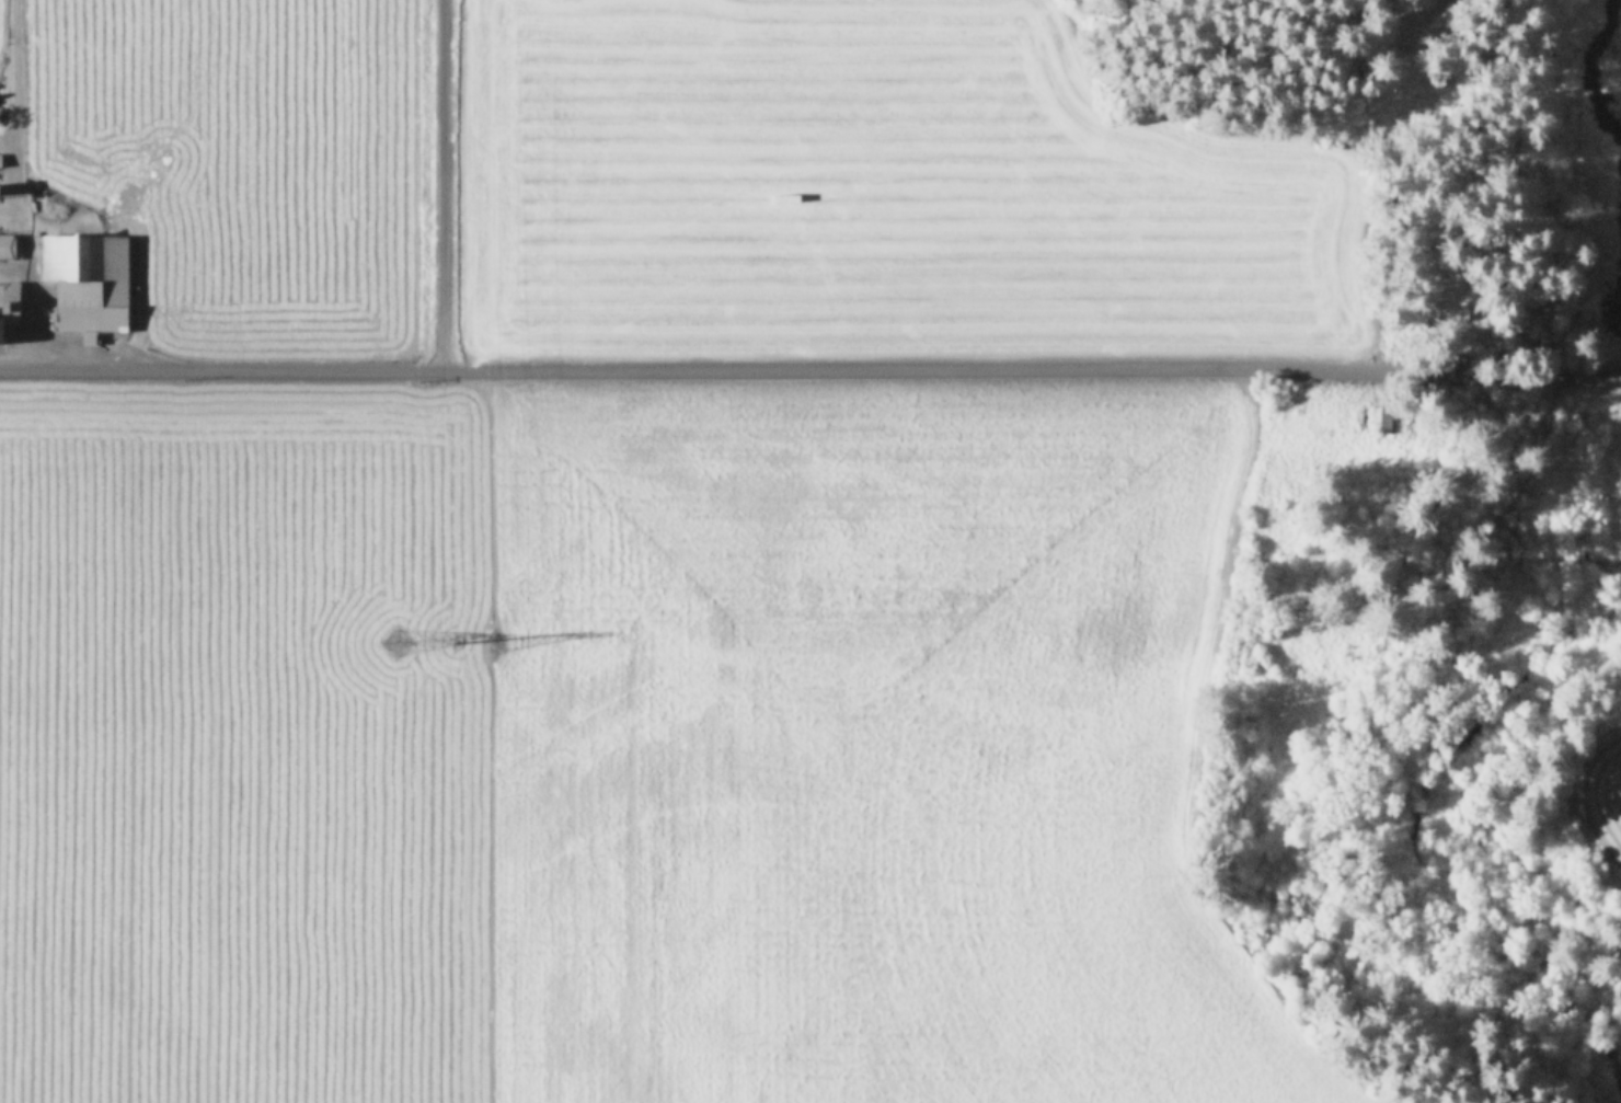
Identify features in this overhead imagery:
building: (0, 164)
road: (439, 184)
road: (27, 243)
building: (7, 244)
road: (13, 268)
building: (85, 280)
building: (8, 299)
road: (811, 367)
crop: (629, 559)
power tower: (389, 637)
power tower: (453, 641)

